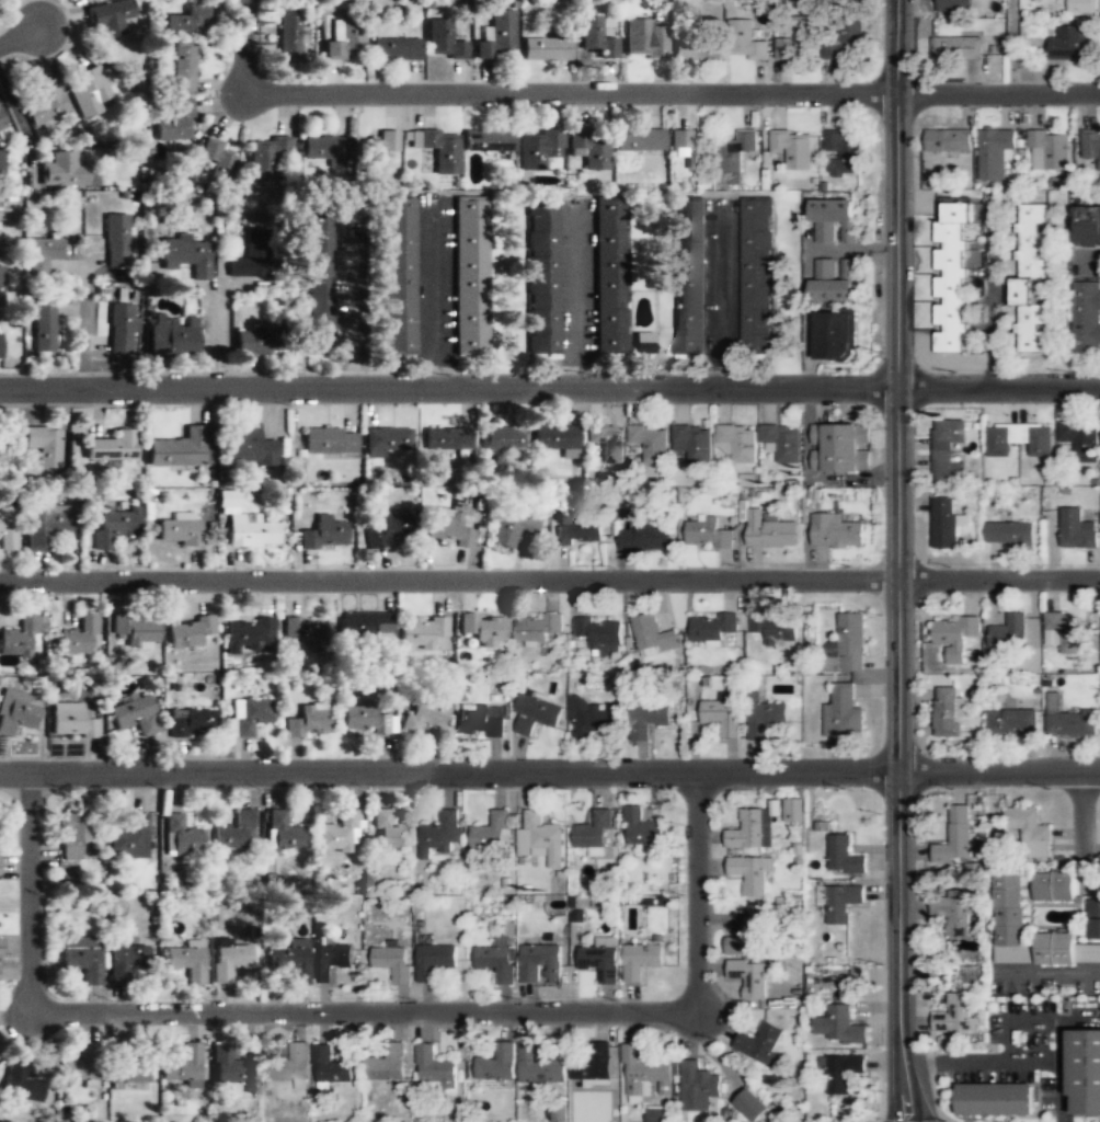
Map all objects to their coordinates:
building: (84, 0)
building: (89, 0)
building: (1082, 5)
building: (952, 7)
building: (108, 18)
building: (185, 20)
road: (21, 34)
building: (288, 35)
building: (496, 37)
building: (597, 38)
building: (344, 41)
building: (642, 41)
building: (745, 41)
road: (241, 42)
building: (443, 42)
building: (844, 43)
building: (792, 44)
road: (1013, 45)
building: (1069, 45)
building: (695, 47)
building: (956, 48)
building: (546, 49)
building: (396, 50)
building: (182, 67)
building: (89, 91)
road: (669, 94)
building: (45, 106)
building: (175, 122)
building: (2, 123)
building: (639, 140)
building: (948, 140)
building: (488, 141)
building: (687, 147)
building: (793, 147)
building: (1091, 147)
building: (328, 149)
building: (438, 149)
building: (539, 149)
building: (738, 149)
building: (588, 150)
building: (1049, 150)
building: (377, 151)
building: (841, 152)
building: (994, 152)
building: (267, 158)
building: (218, 160)
building: (2, 168)
building: (64, 170)
road: (898, 192)
building: (0, 219)
building: (833, 220)
building: (1086, 226)
building: (116, 240)
building: (186, 254)
building: (42, 255)
building: (250, 255)
building: (609, 275)
building: (398, 276)
building: (469, 276)
building: (689, 276)
building: (1030, 276)
building: (542, 277)
building: (756, 277)
building: (951, 278)
building: (320, 279)
building: (833, 280)
building: (0, 286)
building: (1086, 317)
road: (81, 325)
building: (43, 329)
building: (119, 329)
building: (833, 335)
building: (172, 337)
road: (214, 339)
building: (254, 341)
building: (639, 342)
building: (0, 345)
road: (999, 385)
road: (449, 388)
building: (555, 438)
building: (1019, 438)
building: (1081, 438)
building: (502, 439)
building: (781, 439)
building: (329, 440)
building: (385, 440)
building: (448, 440)
building: (607, 442)
building: (652, 442)
building: (737, 442)
building: (692, 443)
building: (44, 445)
building: (248, 446)
building: (112, 447)
building: (840, 447)
building: (176, 449)
building: (948, 450)
building: (944, 523)
building: (46, 525)
building: (113, 525)
building: (511, 526)
building: (448, 528)
building: (1077, 528)
building: (578, 529)
building: (770, 529)
building: (7, 531)
building: (251, 531)
building: (835, 531)
building: (177, 533)
building: (708, 533)
building: (323, 534)
building: (383, 534)
building: (1010, 534)
building: (644, 537)
road: (550, 579)
building: (365, 626)
building: (537, 628)
building: (712, 628)
building: (1062, 628)
building: (483, 629)
building: (135, 630)
building: (775, 630)
building: (421, 631)
building: (188, 632)
building: (307, 632)
building: (599, 633)
building: (1010, 633)
building: (249, 636)
building: (653, 636)
building: (80, 637)
building: (955, 637)
building: (20, 639)
building: (849, 643)
building: (1032, 660)
building: (948, 711)
building: (844, 712)
building: (16, 713)
building: (423, 714)
building: (248, 715)
building: (537, 715)
building: (723, 715)
building: (135, 717)
building: (766, 718)
building: (367, 719)
building: (649, 719)
building: (308, 720)
building: (481, 720)
building: (71, 721)
building: (597, 721)
building: (1013, 721)
building: (192, 723)
building: (1072, 723)
road: (900, 754)
road: (550, 770)
street lamp: (951, 787)
road: (1082, 803)
building: (792, 809)
street lamp: (883, 813)
building: (641, 828)
building: (283, 831)
building: (390, 831)
building: (750, 831)
building: (1030, 831)
building: (234, 832)
building: (337, 832)
building: (440, 832)
building: (492, 832)
building: (72, 834)
building: (181, 835)
building: (594, 835)
building: (128, 836)
building: (955, 837)
building: (541, 838)
building: (845, 854)
building: (0, 866)
building: (750, 872)
building: (1053, 886)
road: (27, 890)
road: (697, 891)
building: (839, 901)
building: (1008, 909)
building: (954, 913)
building: (1095, 919)
building: (747, 937)
building: (1, 946)
building: (1066, 950)
building: (81, 957)
building: (600, 958)
building: (641, 959)
building: (291, 960)
building: (331, 960)
building: (435, 960)
building: (496, 960)
building: (229, 961)
building: (541, 961)
building: (125, 962)
building: (393, 962)
street lamp: (884, 962)
building: (186, 963)
road: (1049, 971)
building: (749, 976)
road: (363, 1010)
building: (954, 1016)
building: (1082, 1017)
road: (1036, 1022)
building: (838, 1026)
building: (759, 1043)
parking lot: (1029, 1047)
road: (1015, 1057)
building: (599, 1060)
building: (79, 1064)
building: (387, 1064)
building: (497, 1064)
building: (295, 1065)
building: (331, 1065)
building: (183, 1066)
building: (434, 1067)
building: (1086, 1067)
building: (229, 1068)
building: (129, 1069)
building: (543, 1071)
building: (843, 1072)
building: (644, 1073)
building: (21, 1083)
building: (698, 1087)
building: (996, 1097)
building: (752, 1104)
building: (844, 1112)
building: (655, 1114)

